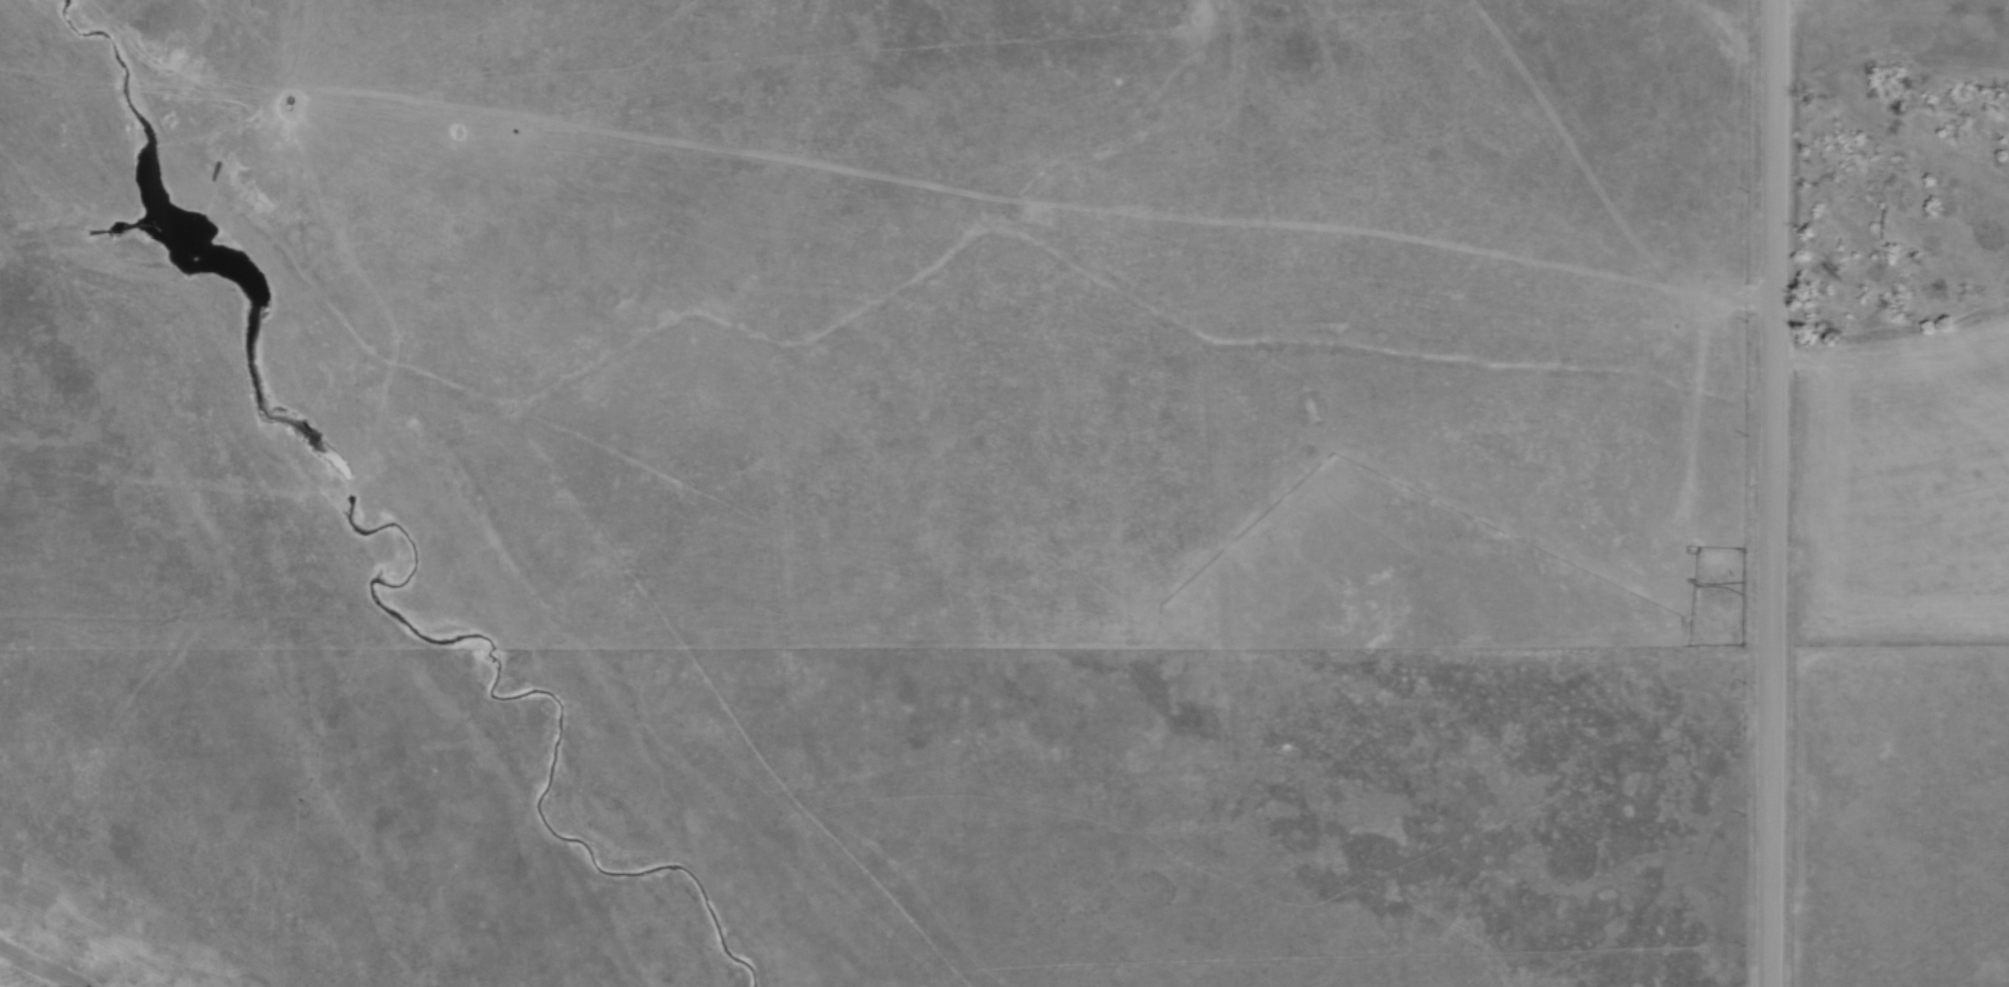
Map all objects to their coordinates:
road: (1780, 493)

